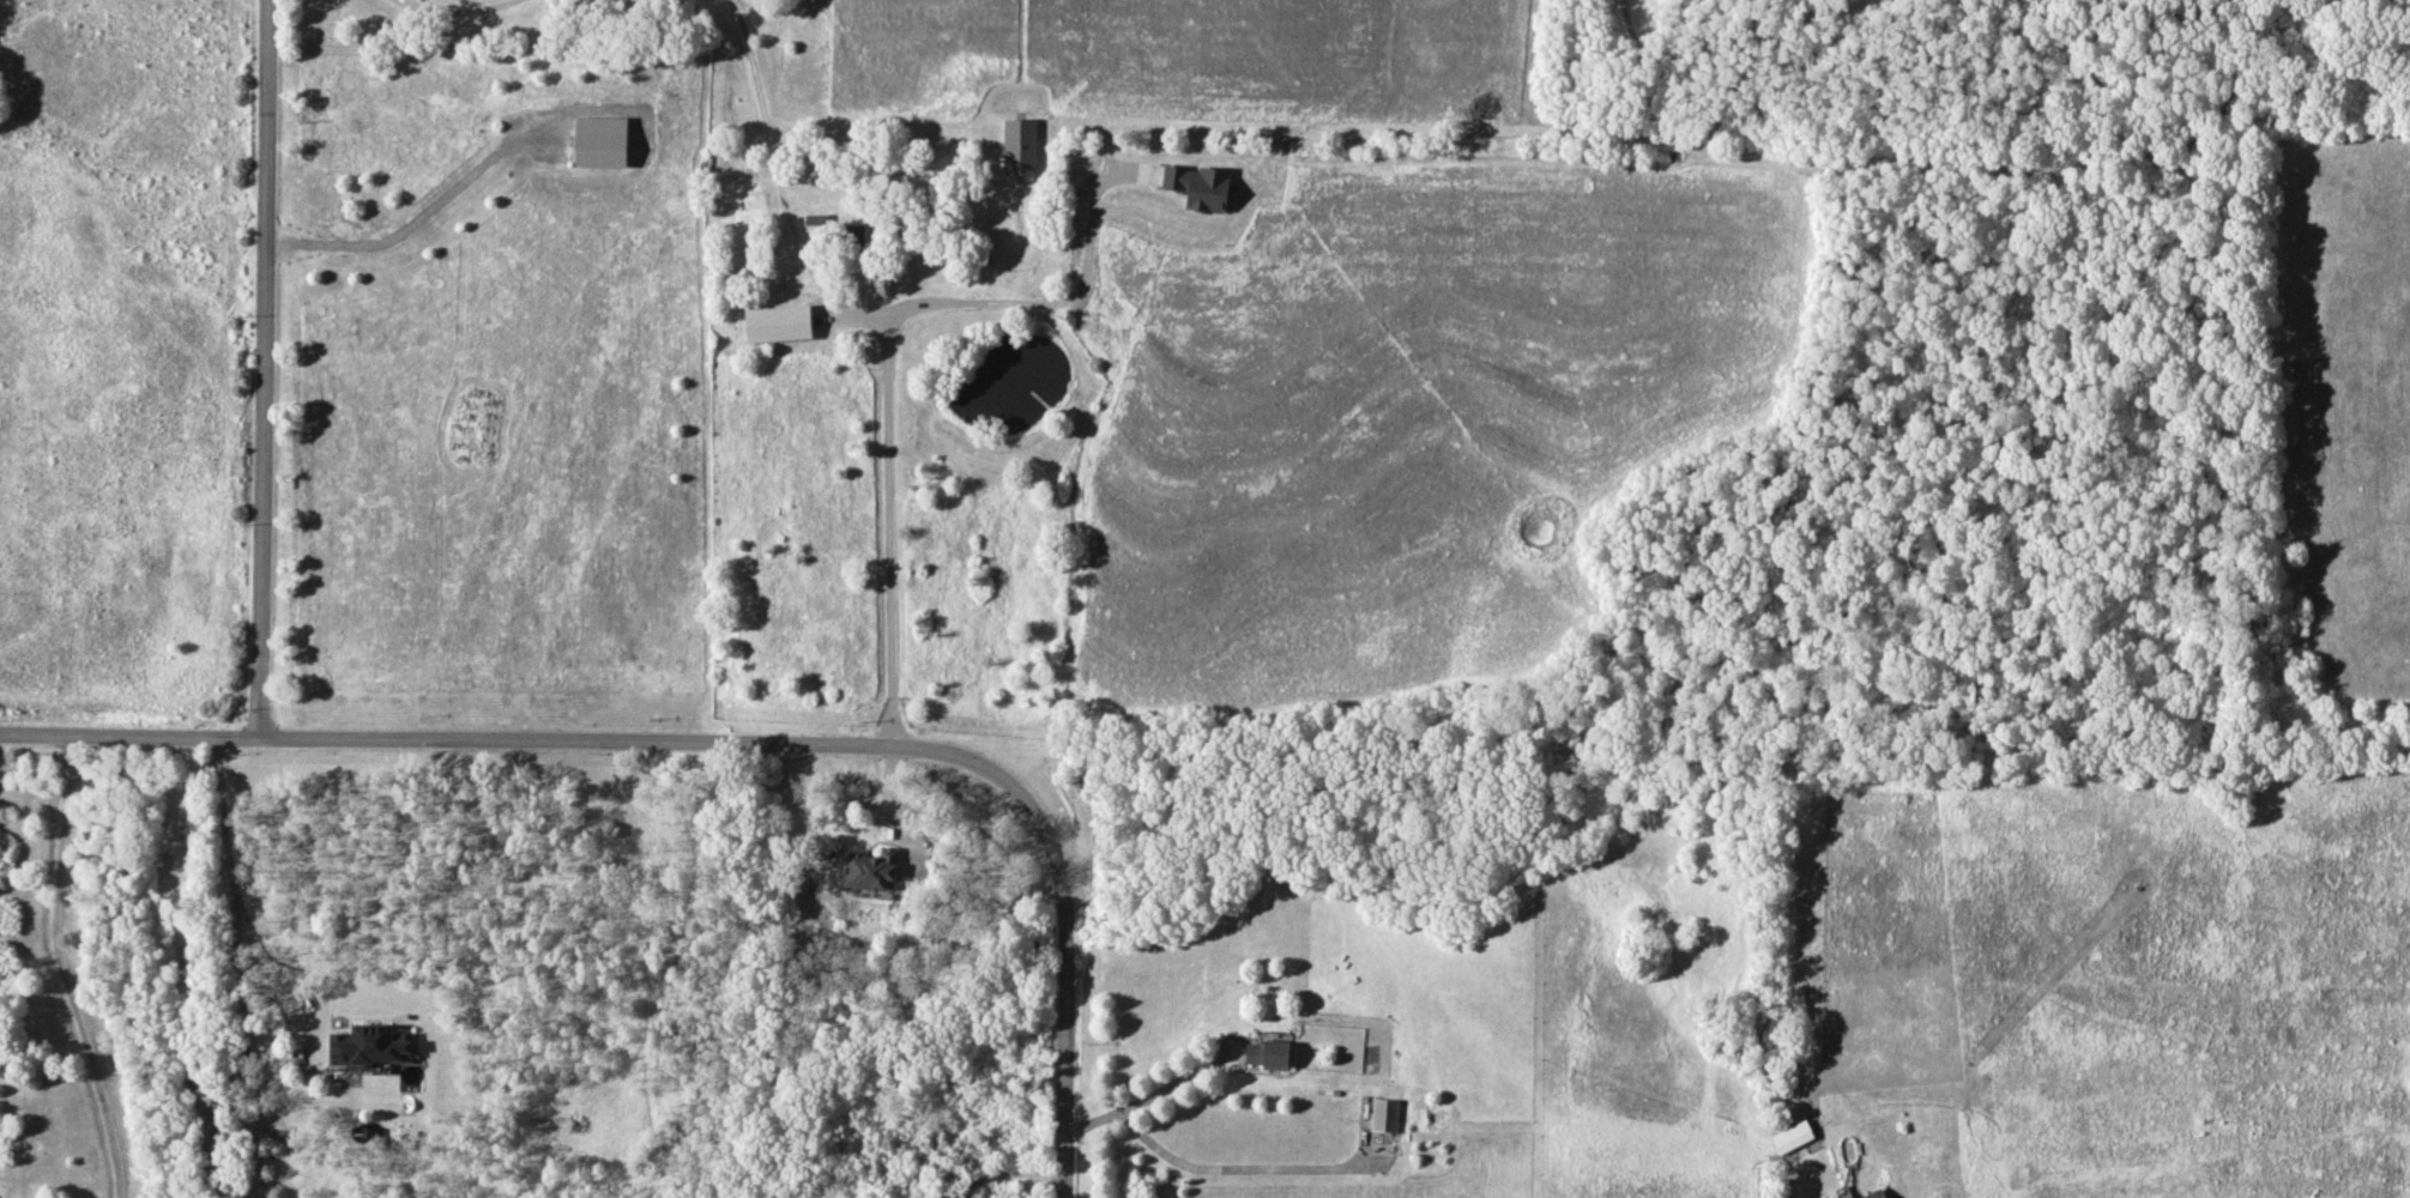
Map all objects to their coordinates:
road: (457, 12)
building: (600, 141)
building: (1019, 146)
building: (1198, 186)
road: (416, 217)
building: (815, 219)
road: (1041, 307)
building: (777, 322)
road: (887, 349)
park: (134, 365)
road: (270, 368)
road: (447, 739)
building: (871, 871)
road: (232, 895)
road: (1069, 919)
road: (60, 969)
building: (370, 1045)
building: (1267, 1053)
road: (1142, 1097)
building: (1384, 1114)
building: (1790, 1136)
road: (1011, 1176)
building: (1874, 1194)

